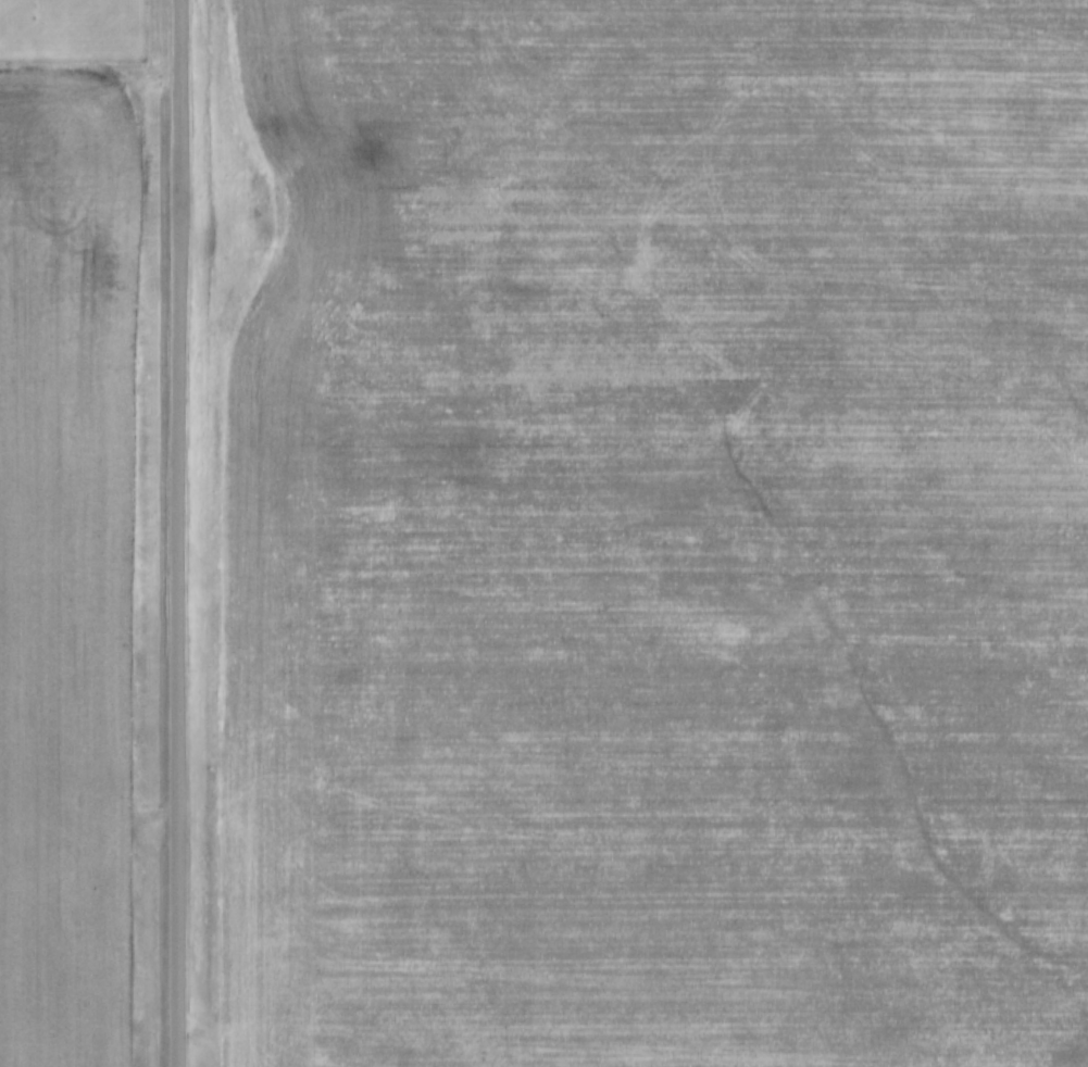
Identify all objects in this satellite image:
road: (178, 533)

